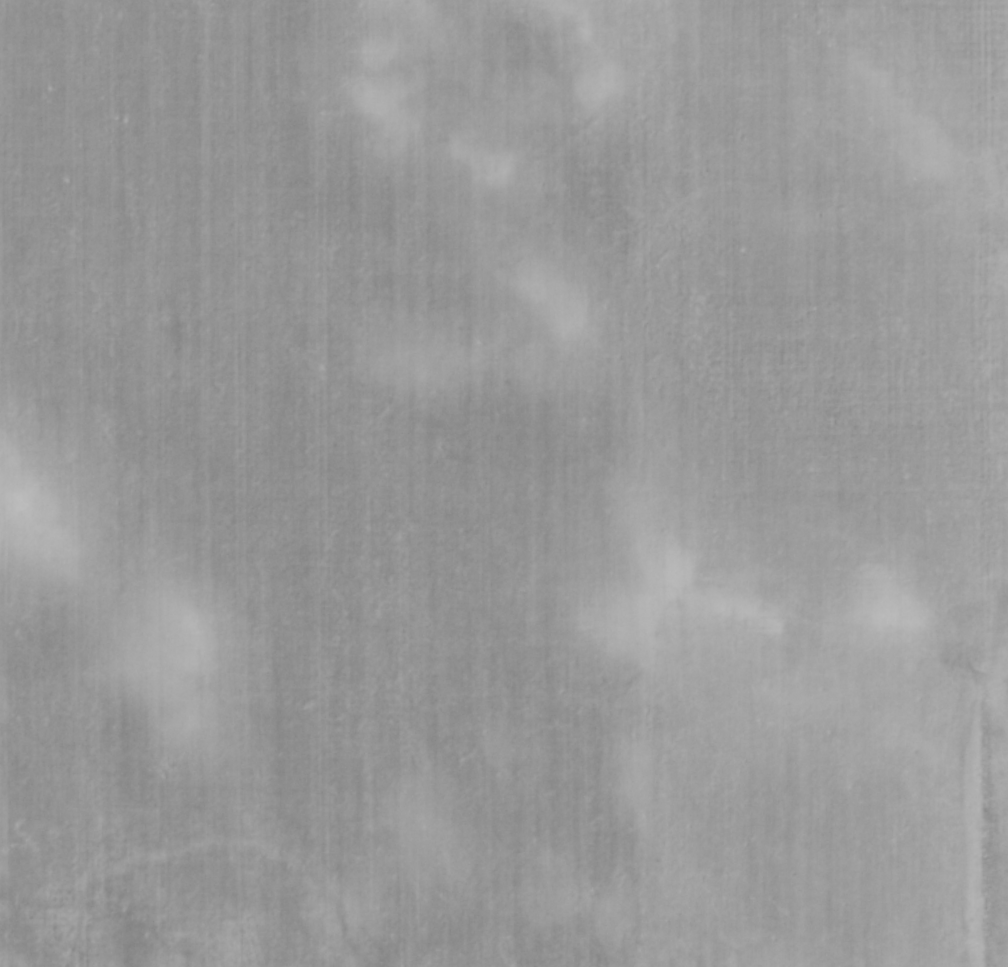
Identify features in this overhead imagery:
crop: (504, 483)

